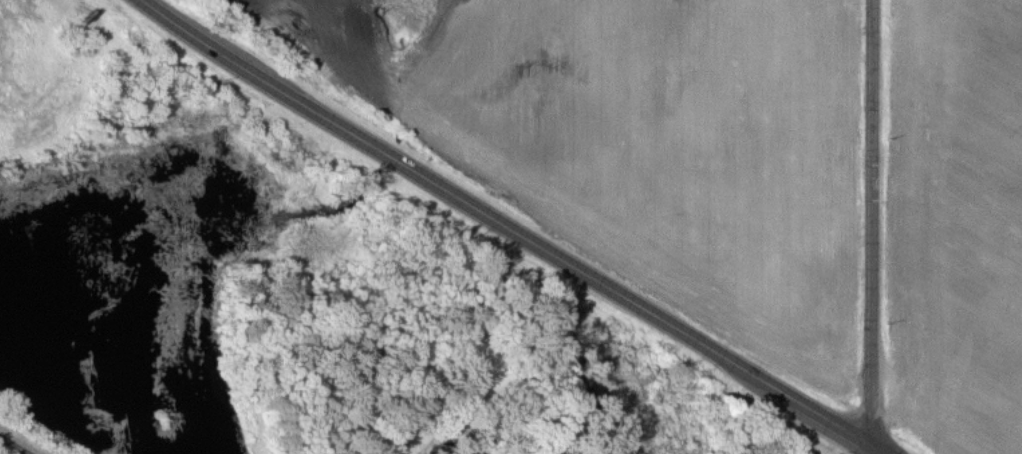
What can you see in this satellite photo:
road: (873, 226)
road: (517, 231)
railway: (12, 446)

